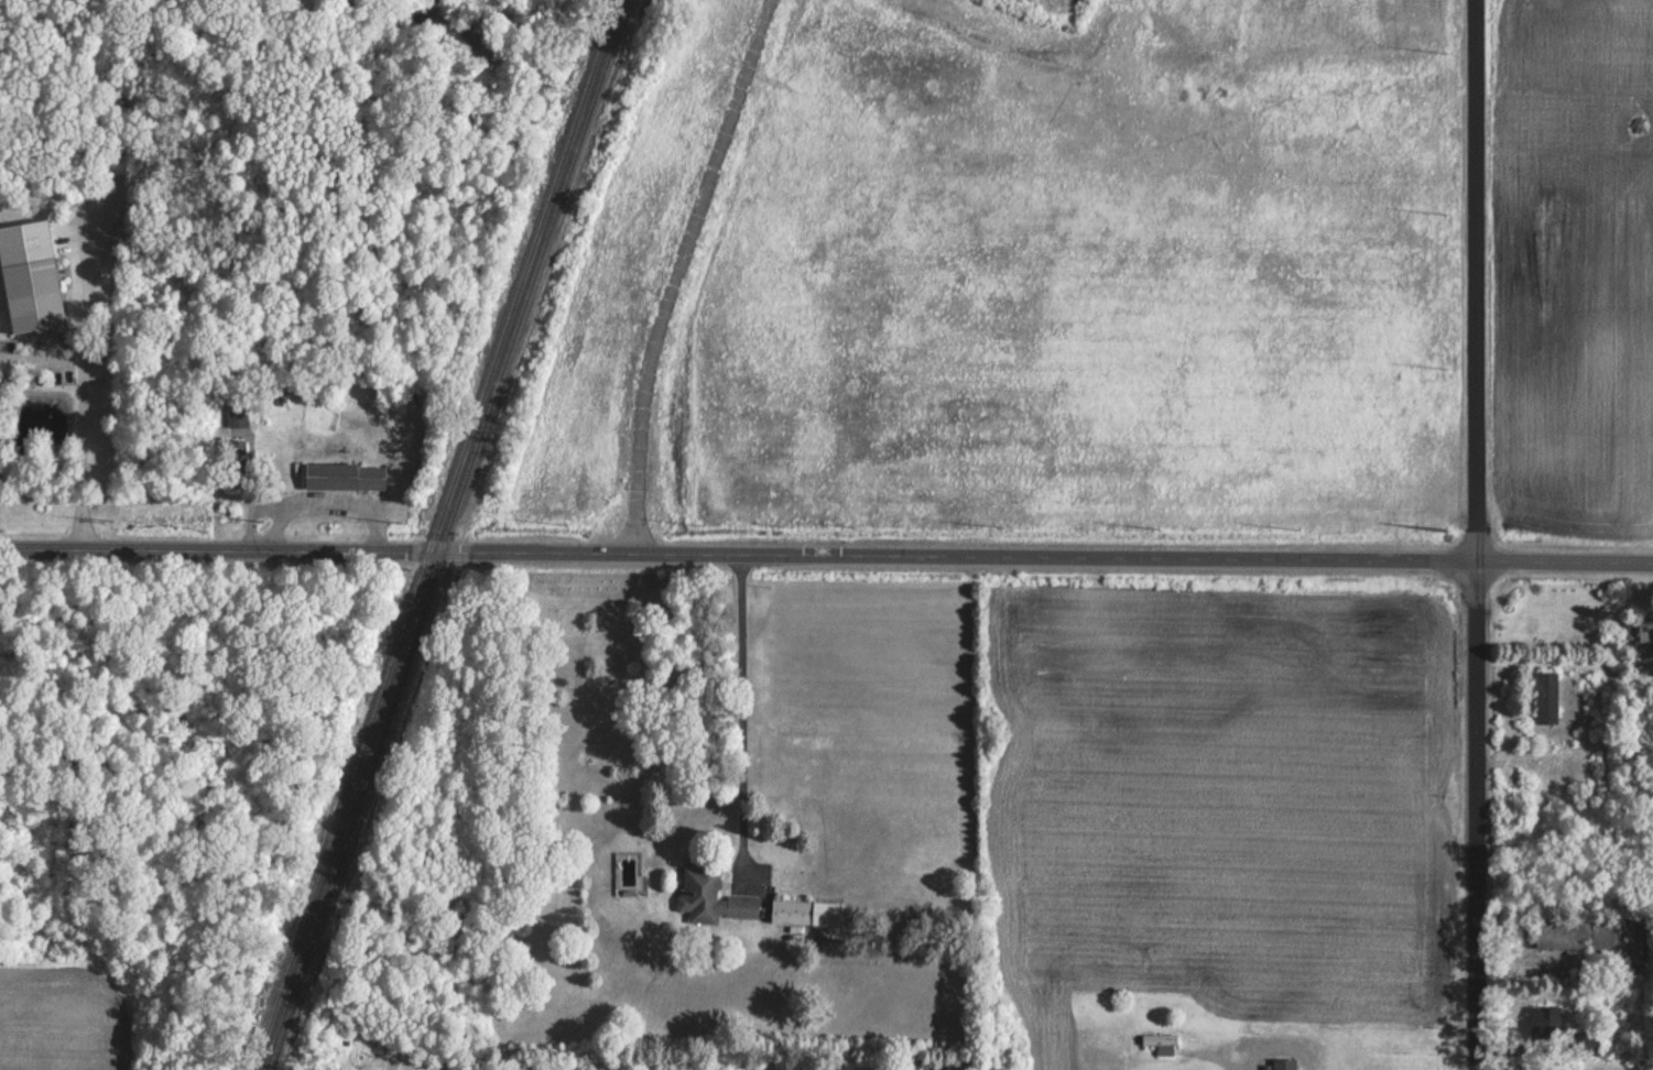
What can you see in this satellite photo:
building: (31, 294)
road: (72, 404)
building: (238, 416)
building: (236, 461)
building: (345, 477)
railway: (441, 534)
road: (1481, 534)
railway: (433, 535)
road: (826, 558)
building: (1640, 635)
building: (1547, 697)
road: (747, 721)
building: (709, 894)
building: (806, 913)
building: (1573, 937)
building: (1546, 1019)
building: (1161, 1041)
road: (1220, 1058)
building: (1284, 1063)
building: (936, 1069)

